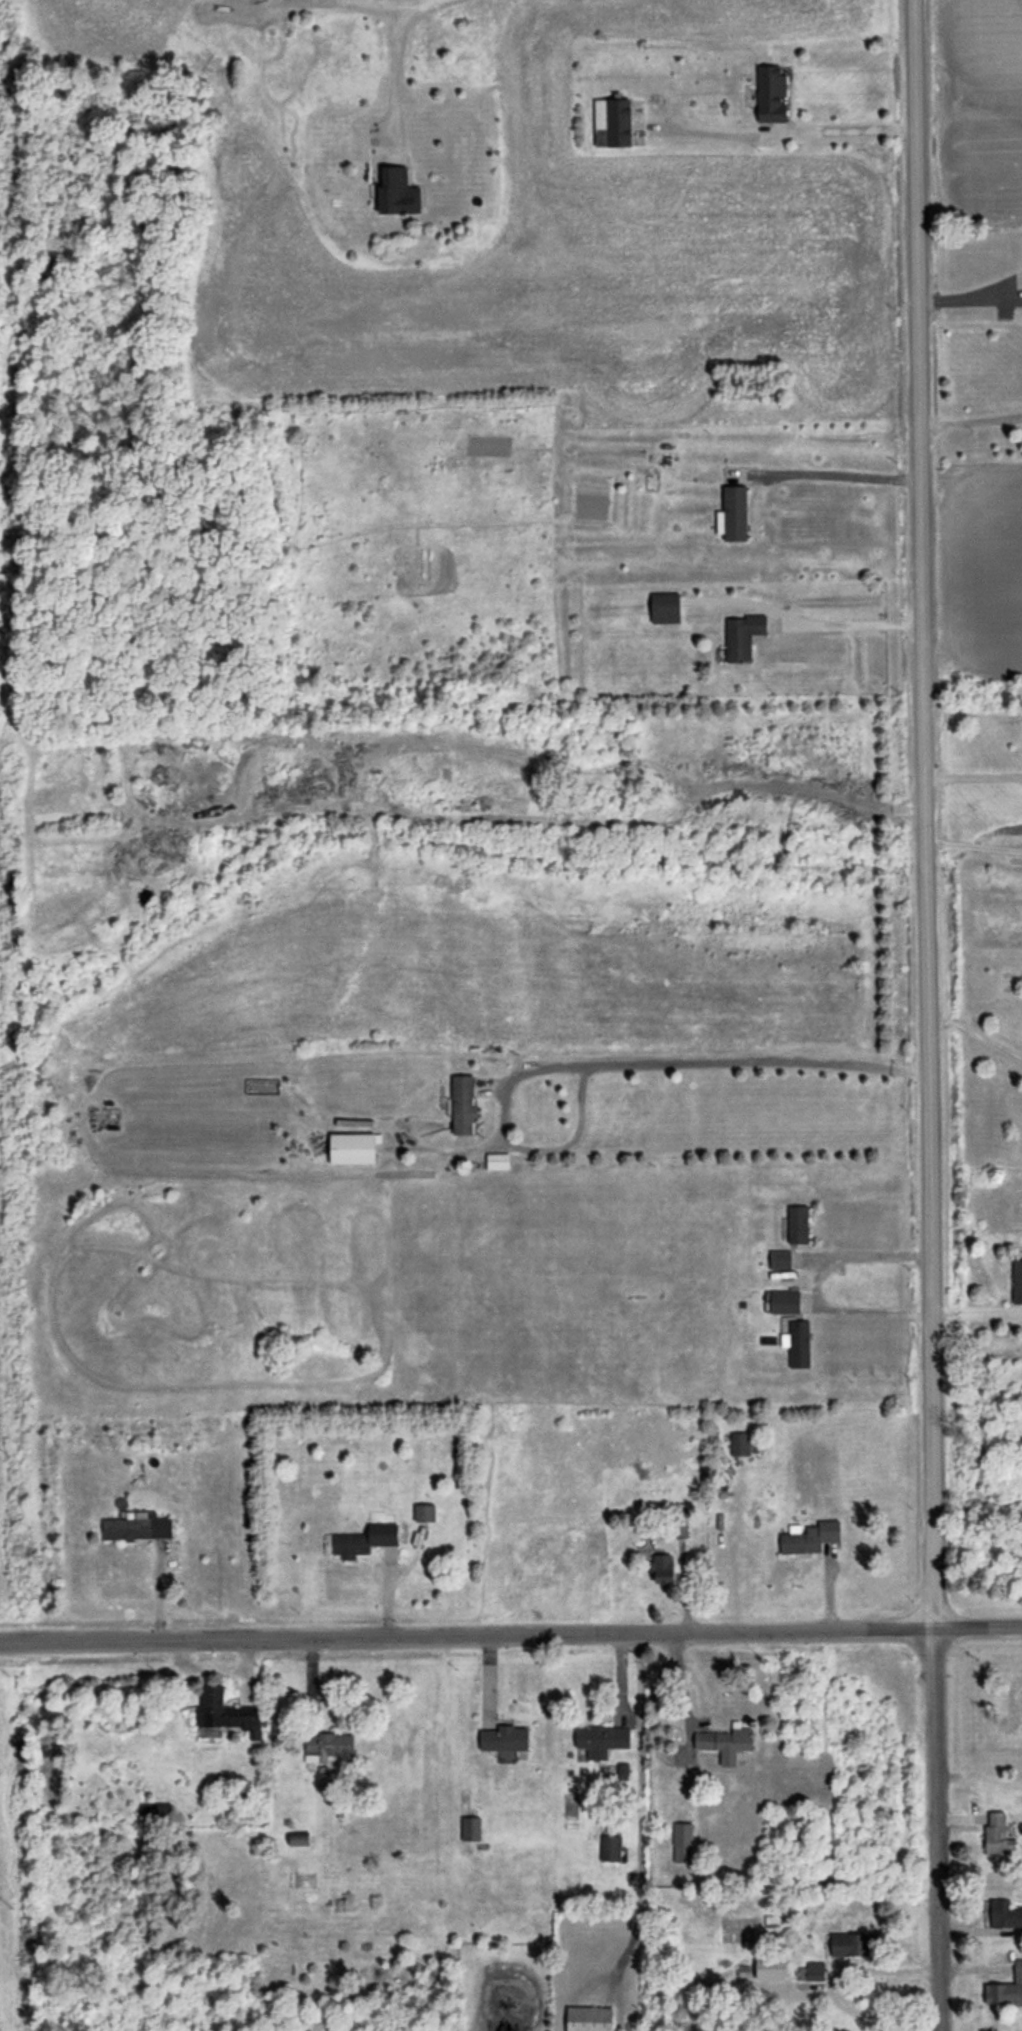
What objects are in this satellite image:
road: (392, 63)
building: (771, 94)
building: (612, 122)
road: (785, 130)
building: (398, 192)
road: (969, 297)
road: (971, 422)
road: (828, 472)
building: (733, 514)
building: (665, 607)
road: (852, 623)
building: (742, 636)
road: (973, 775)
road: (974, 845)
road: (928, 1015)
road: (977, 1035)
road: (726, 1061)
building: (463, 1104)
building: (352, 1148)
building: (497, 1160)
building: (798, 1224)
building: (780, 1259)
building: (1017, 1280)
road: (814, 1281)
building: (785, 1301)
building: (798, 1343)
building: (742, 1443)
building: (138, 1527)
building: (682, 1530)
building: (810, 1536)
building: (364, 1540)
building: (663, 1569)
road: (511, 1634)
building: (226, 1712)
building: (504, 1738)
building: (602, 1740)
building: (726, 1743)
building: (327, 1745)
building: (154, 1808)
building: (997, 1835)
building: (682, 1842)
building: (610, 1847)
building: (1005, 1914)
building: (851, 1944)
building: (770, 1968)
building: (812, 1971)
road: (839, 1980)
building: (1006, 1988)
building: (589, 2018)

